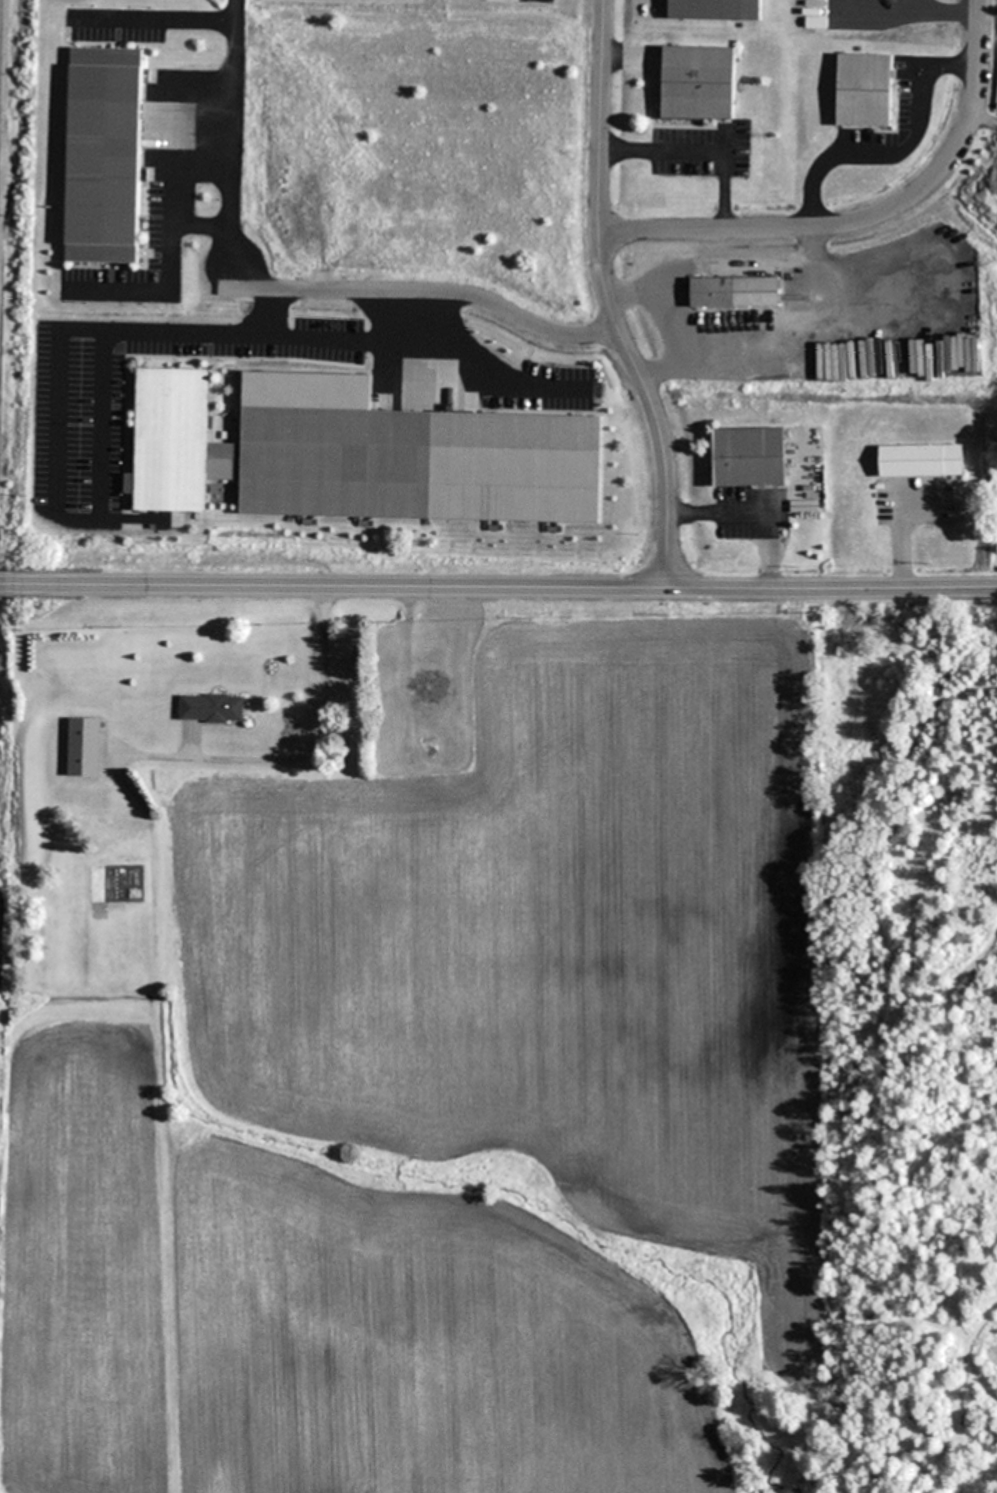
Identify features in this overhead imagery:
building: (717, 10)
building: (699, 83)
building: (865, 90)
road: (232, 145)
building: (104, 155)
road: (865, 219)
road: (403, 293)
building: (713, 294)
road: (608, 299)
road: (600, 334)
road: (337, 339)
road: (475, 367)
road: (54, 429)
building: (750, 457)
building: (362, 460)
building: (922, 460)
road: (10, 583)
road: (508, 590)
building: (211, 708)
building: (84, 747)
park: (926, 1046)
crop: (471, 1088)

